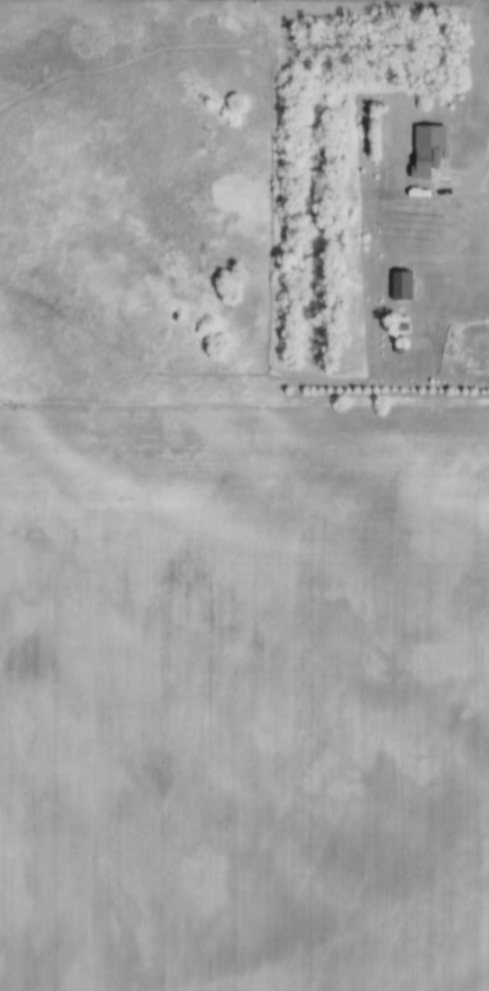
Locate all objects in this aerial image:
building: (430, 153)
road: (476, 171)
building: (401, 287)
building: (402, 312)

